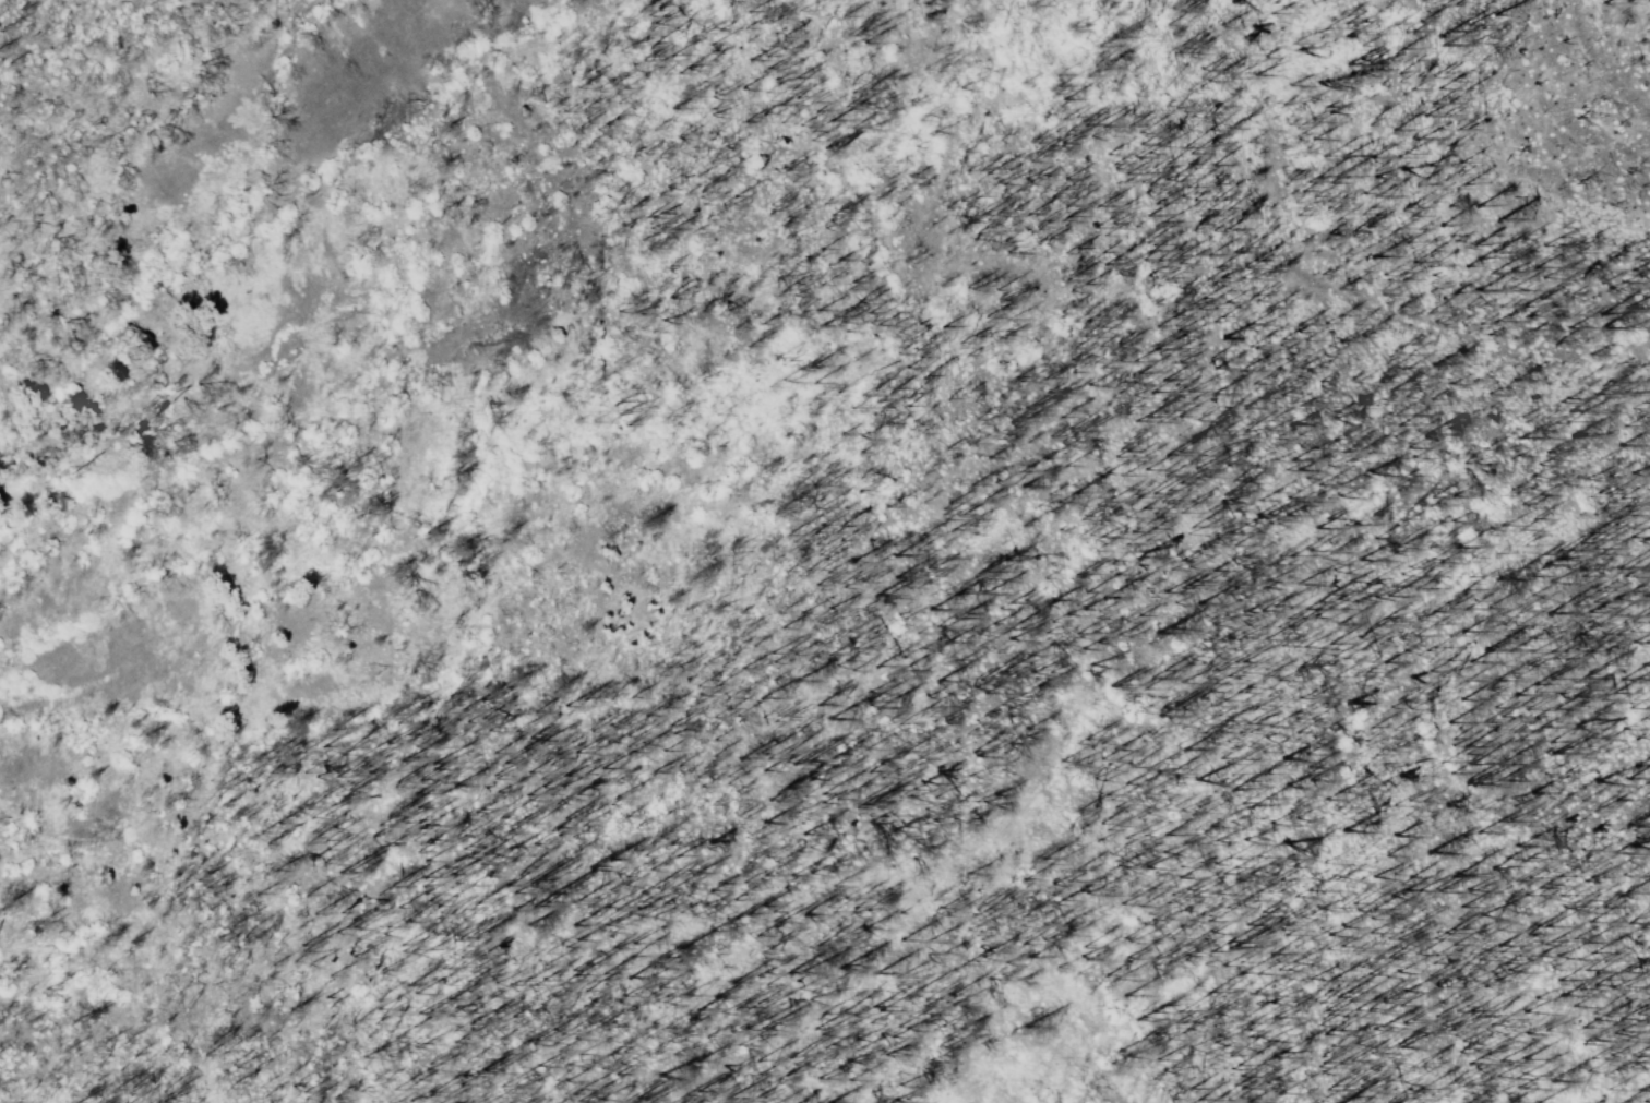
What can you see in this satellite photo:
road: (1636, 23)

